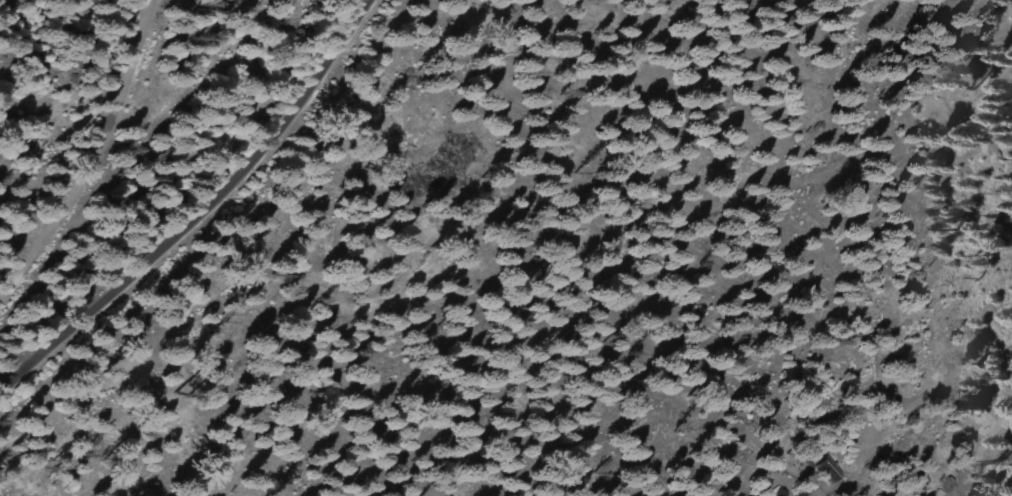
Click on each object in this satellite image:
road: (205, 203)

